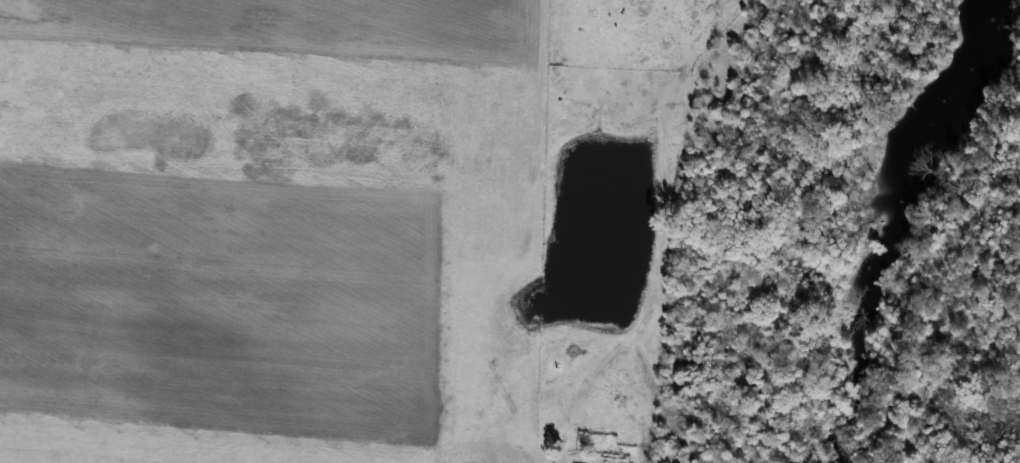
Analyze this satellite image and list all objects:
road: (569, 404)

